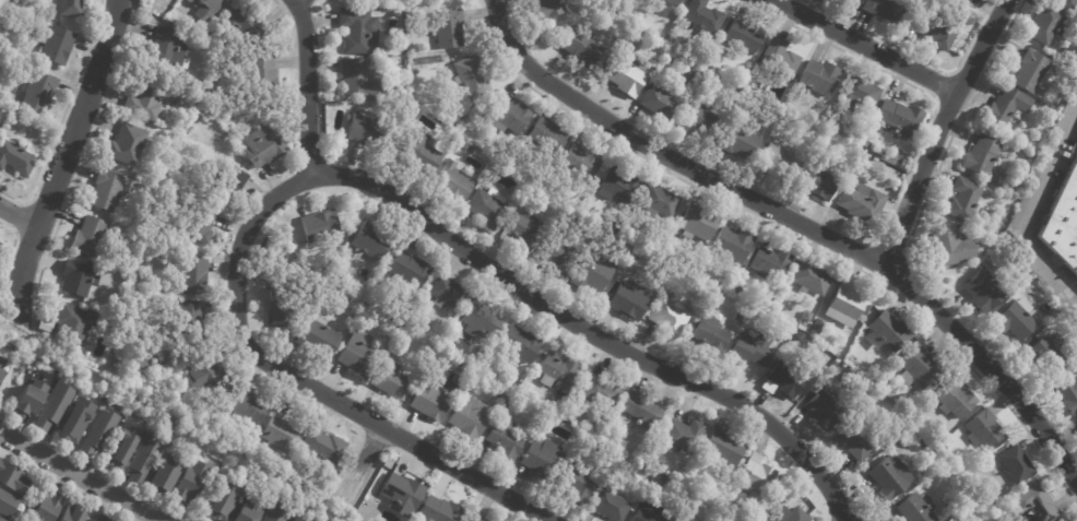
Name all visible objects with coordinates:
building: (848, 0)
building: (851, 0)
building: (964, 0)
building: (962, 1)
building: (655, 2)
building: (671, 2)
building: (1065, 4)
building: (203, 8)
building: (542, 8)
building: (881, 8)
building: (73, 9)
road: (281, 9)
road: (300, 12)
building: (394, 14)
building: (170, 15)
building: (703, 17)
building: (242, 21)
building: (1046, 27)
building: (353, 28)
building: (447, 28)
building: (935, 28)
building: (742, 36)
building: (630, 37)
building: (665, 40)
building: (59, 45)
road: (320, 45)
road: (865, 46)
building: (581, 48)
building: (376, 49)
building: (164, 51)
road: (912, 55)
building: (1065, 55)
building: (670, 58)
building: (779, 59)
road: (873, 66)
building: (710, 68)
building: (259, 72)
building: (1068, 72)
building: (1031, 73)
building: (351, 74)
building: (469, 75)
building: (623, 76)
building: (818, 79)
building: (177, 82)
building: (736, 84)
road: (307, 87)
building: (746, 87)
building: (43, 93)
building: (859, 95)
building: (142, 97)
road: (935, 100)
building: (656, 102)
building: (1004, 108)
building: (506, 114)
road: (62, 115)
building: (202, 115)
building: (897, 118)
building: (698, 120)
building: (27, 122)
building: (368, 128)
road: (955, 128)
road: (937, 129)
building: (546, 135)
building: (736, 142)
building: (126, 143)
building: (260, 146)
building: (418, 150)
building: (980, 156)
building: (17, 159)
building: (779, 161)
road: (61, 162)
building: (580, 162)
road: (79, 166)
building: (227, 178)
building: (448, 179)
building: (816, 183)
building: (617, 187)
building: (105, 190)
road: (50, 192)
building: (962, 199)
building: (659, 200)
building: (483, 204)
building: (861, 204)
road: (1027, 209)
road: (15, 214)
road: (17, 217)
building: (1063, 221)
building: (696, 223)
road: (795, 223)
building: (198, 224)
building: (318, 225)
building: (618, 227)
building: (519, 229)
road: (789, 234)
building: (84, 235)
building: (370, 242)
building: (732, 242)
building: (1, 246)
building: (951, 249)
building: (556, 253)
road: (8, 257)
building: (769, 262)
building: (406, 269)
building: (299, 272)
building: (592, 272)
building: (190, 275)
building: (75, 277)
building: (810, 277)
building: (312, 279)
road: (902, 279)
building: (737, 291)
building: (983, 291)
building: (446, 292)
building: (627, 301)
building: (844, 304)
building: (279, 313)
building: (181, 315)
building: (666, 315)
building: (736, 317)
building: (478, 318)
building: (1013, 322)
building: (43, 324)
building: (73, 324)
building: (392, 325)
building: (418, 325)
building: (815, 325)
building: (886, 331)
road: (589, 332)
building: (709, 332)
building: (804, 336)
building: (317, 338)
road: (32, 339)
building: (518, 344)
building: (445, 345)
building: (427, 348)
building: (749, 348)
building: (1045, 354)
building: (1076, 354)
building: (355, 355)
building: (852, 355)
building: (138, 364)
building: (918, 368)
building: (2, 369)
building: (200, 369)
building: (555, 369)
building: (1075, 370)
road: (11, 372)
building: (459, 377)
building: (783, 377)
building: (388, 379)
road: (306, 384)
building: (453, 386)
building: (511, 386)
building: (599, 391)
building: (496, 393)
building: (1068, 395)
building: (952, 398)
building: (26, 400)
building: (429, 400)
building: (506, 401)
building: (50, 404)
building: (245, 405)
building: (554, 407)
building: (822, 407)
building: (640, 411)
road: (1, 417)
building: (468, 417)
road: (1, 421)
building: (74, 421)
building: (983, 429)
building: (96, 431)
building: (280, 434)
building: (683, 434)
building: (502, 438)
building: (915, 439)
building: (853, 442)
building: (120, 446)
building: (321, 446)
building: (944, 447)
building: (721, 448)
building: (537, 455)
building: (144, 458)
building: (651, 458)
building: (935, 461)
building: (1014, 464)
road: (359, 467)
building: (754, 474)
building: (11, 476)
road: (80, 476)
building: (165, 476)
building: (888, 476)
building: (573, 482)
road: (67, 483)
building: (186, 483)
building: (400, 494)
building: (223, 499)
building: (7, 502)
building: (1035, 502)
building: (605, 504)
building: (43, 506)
building: (958, 506)
building: (913, 509)
building: (437, 510)
building: (247, 511)
building: (273, 511)
building: (641, 511)
building: (71, 512)
building: (783, 513)
building: (968, 514)
building: (98, 518)
building: (683, 518)
building: (474, 519)
building: (1, 520)
building: (293, 520)

